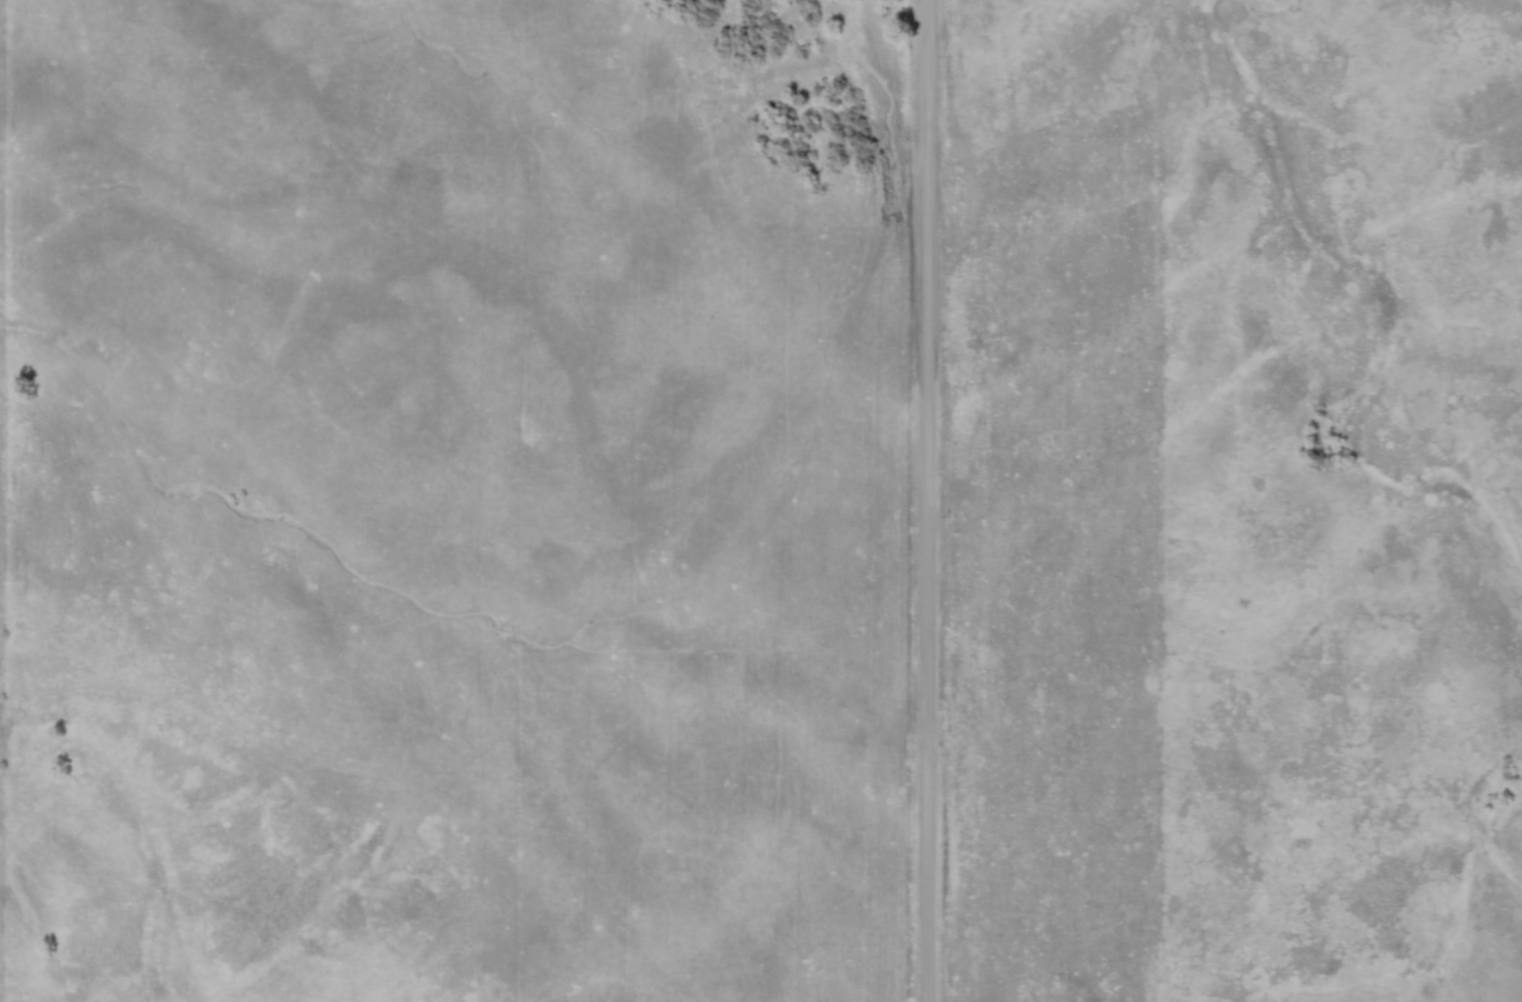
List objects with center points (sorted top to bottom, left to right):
road: (928, 500)

